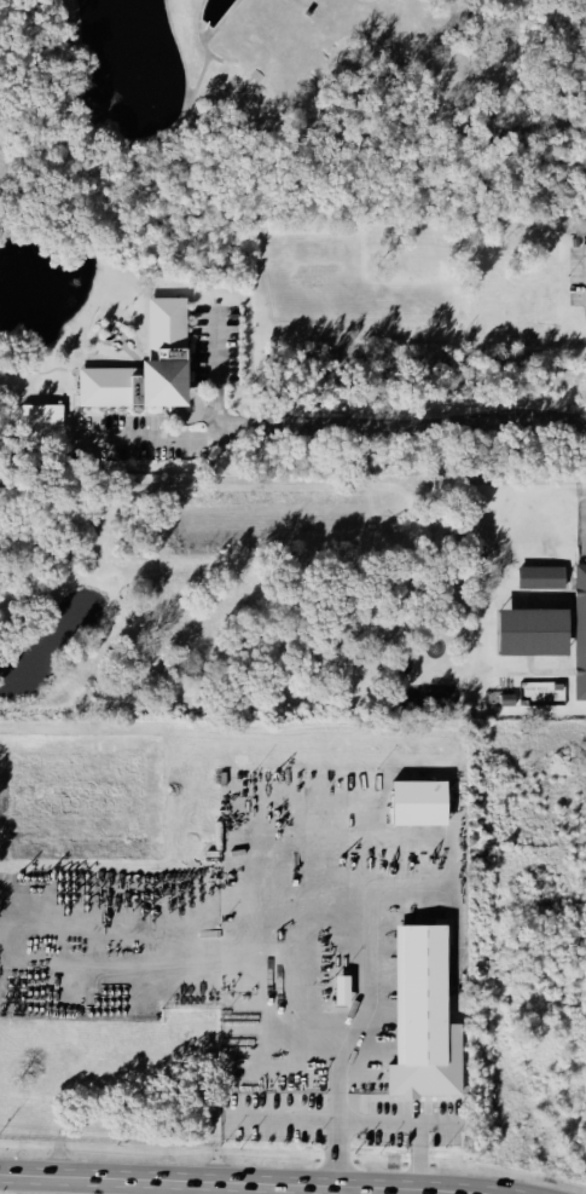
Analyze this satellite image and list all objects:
building: (140, 360)
road: (211, 373)
building: (41, 414)
road: (401, 420)
road: (153, 440)
road: (584, 527)
building: (539, 579)
building: (549, 631)
building: (498, 702)
building: (412, 801)
building: (340, 992)
building: (418, 1015)
road: (337, 1054)
road: (285, 1119)
road: (404, 1132)
road: (337, 1140)
road: (242, 1182)
road: (365, 1190)

